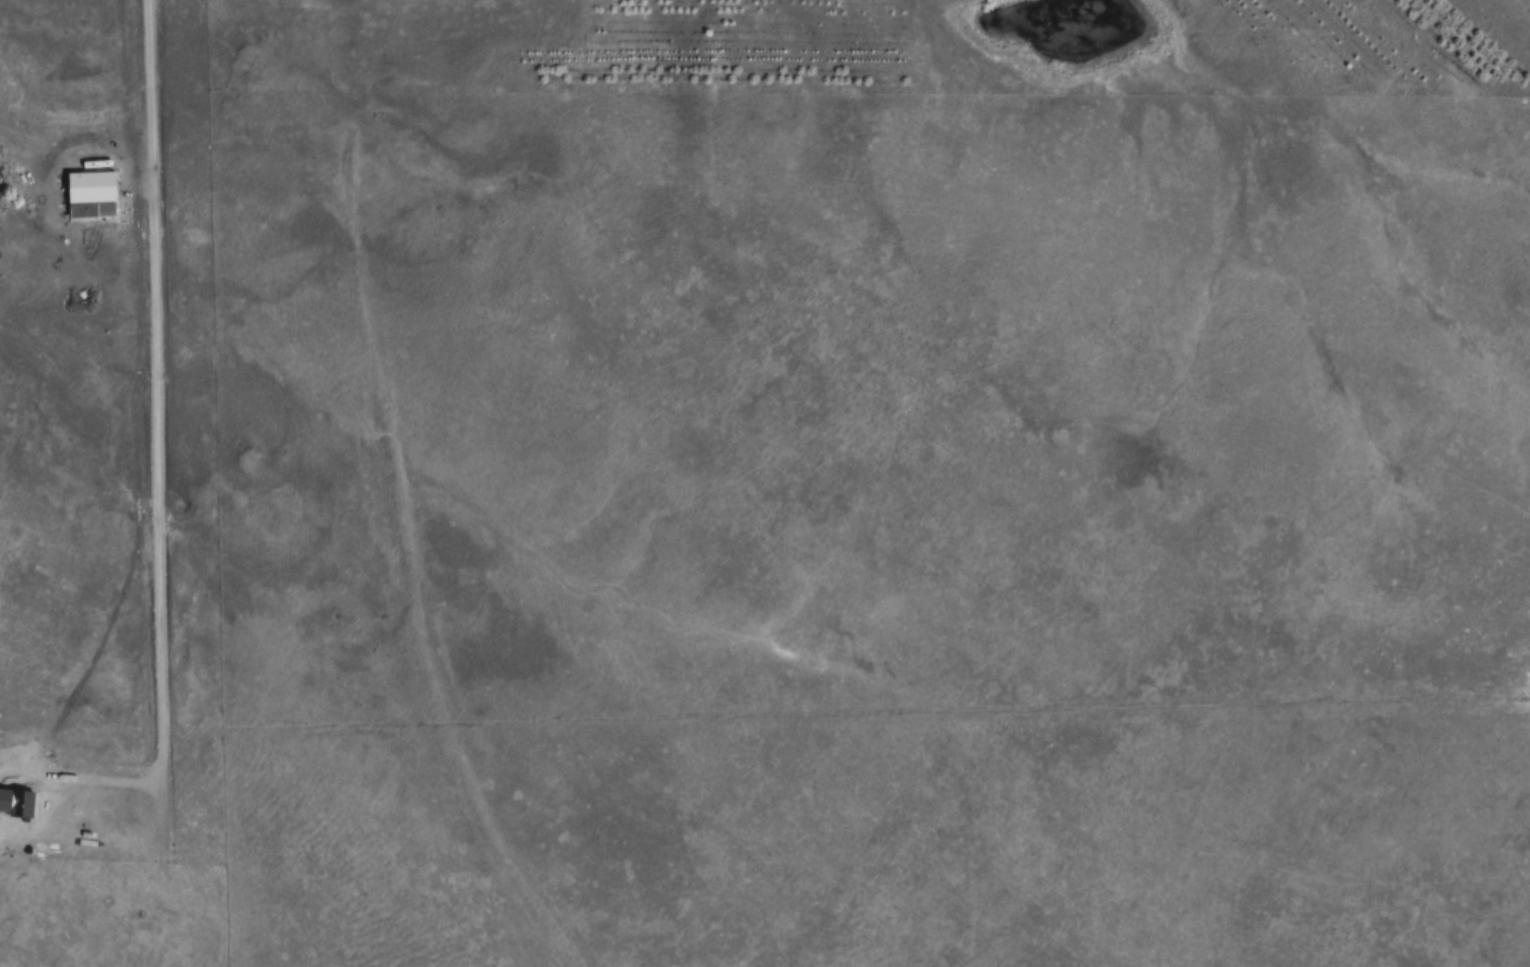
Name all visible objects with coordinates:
building: (90, 195)
building: (6, 765)

